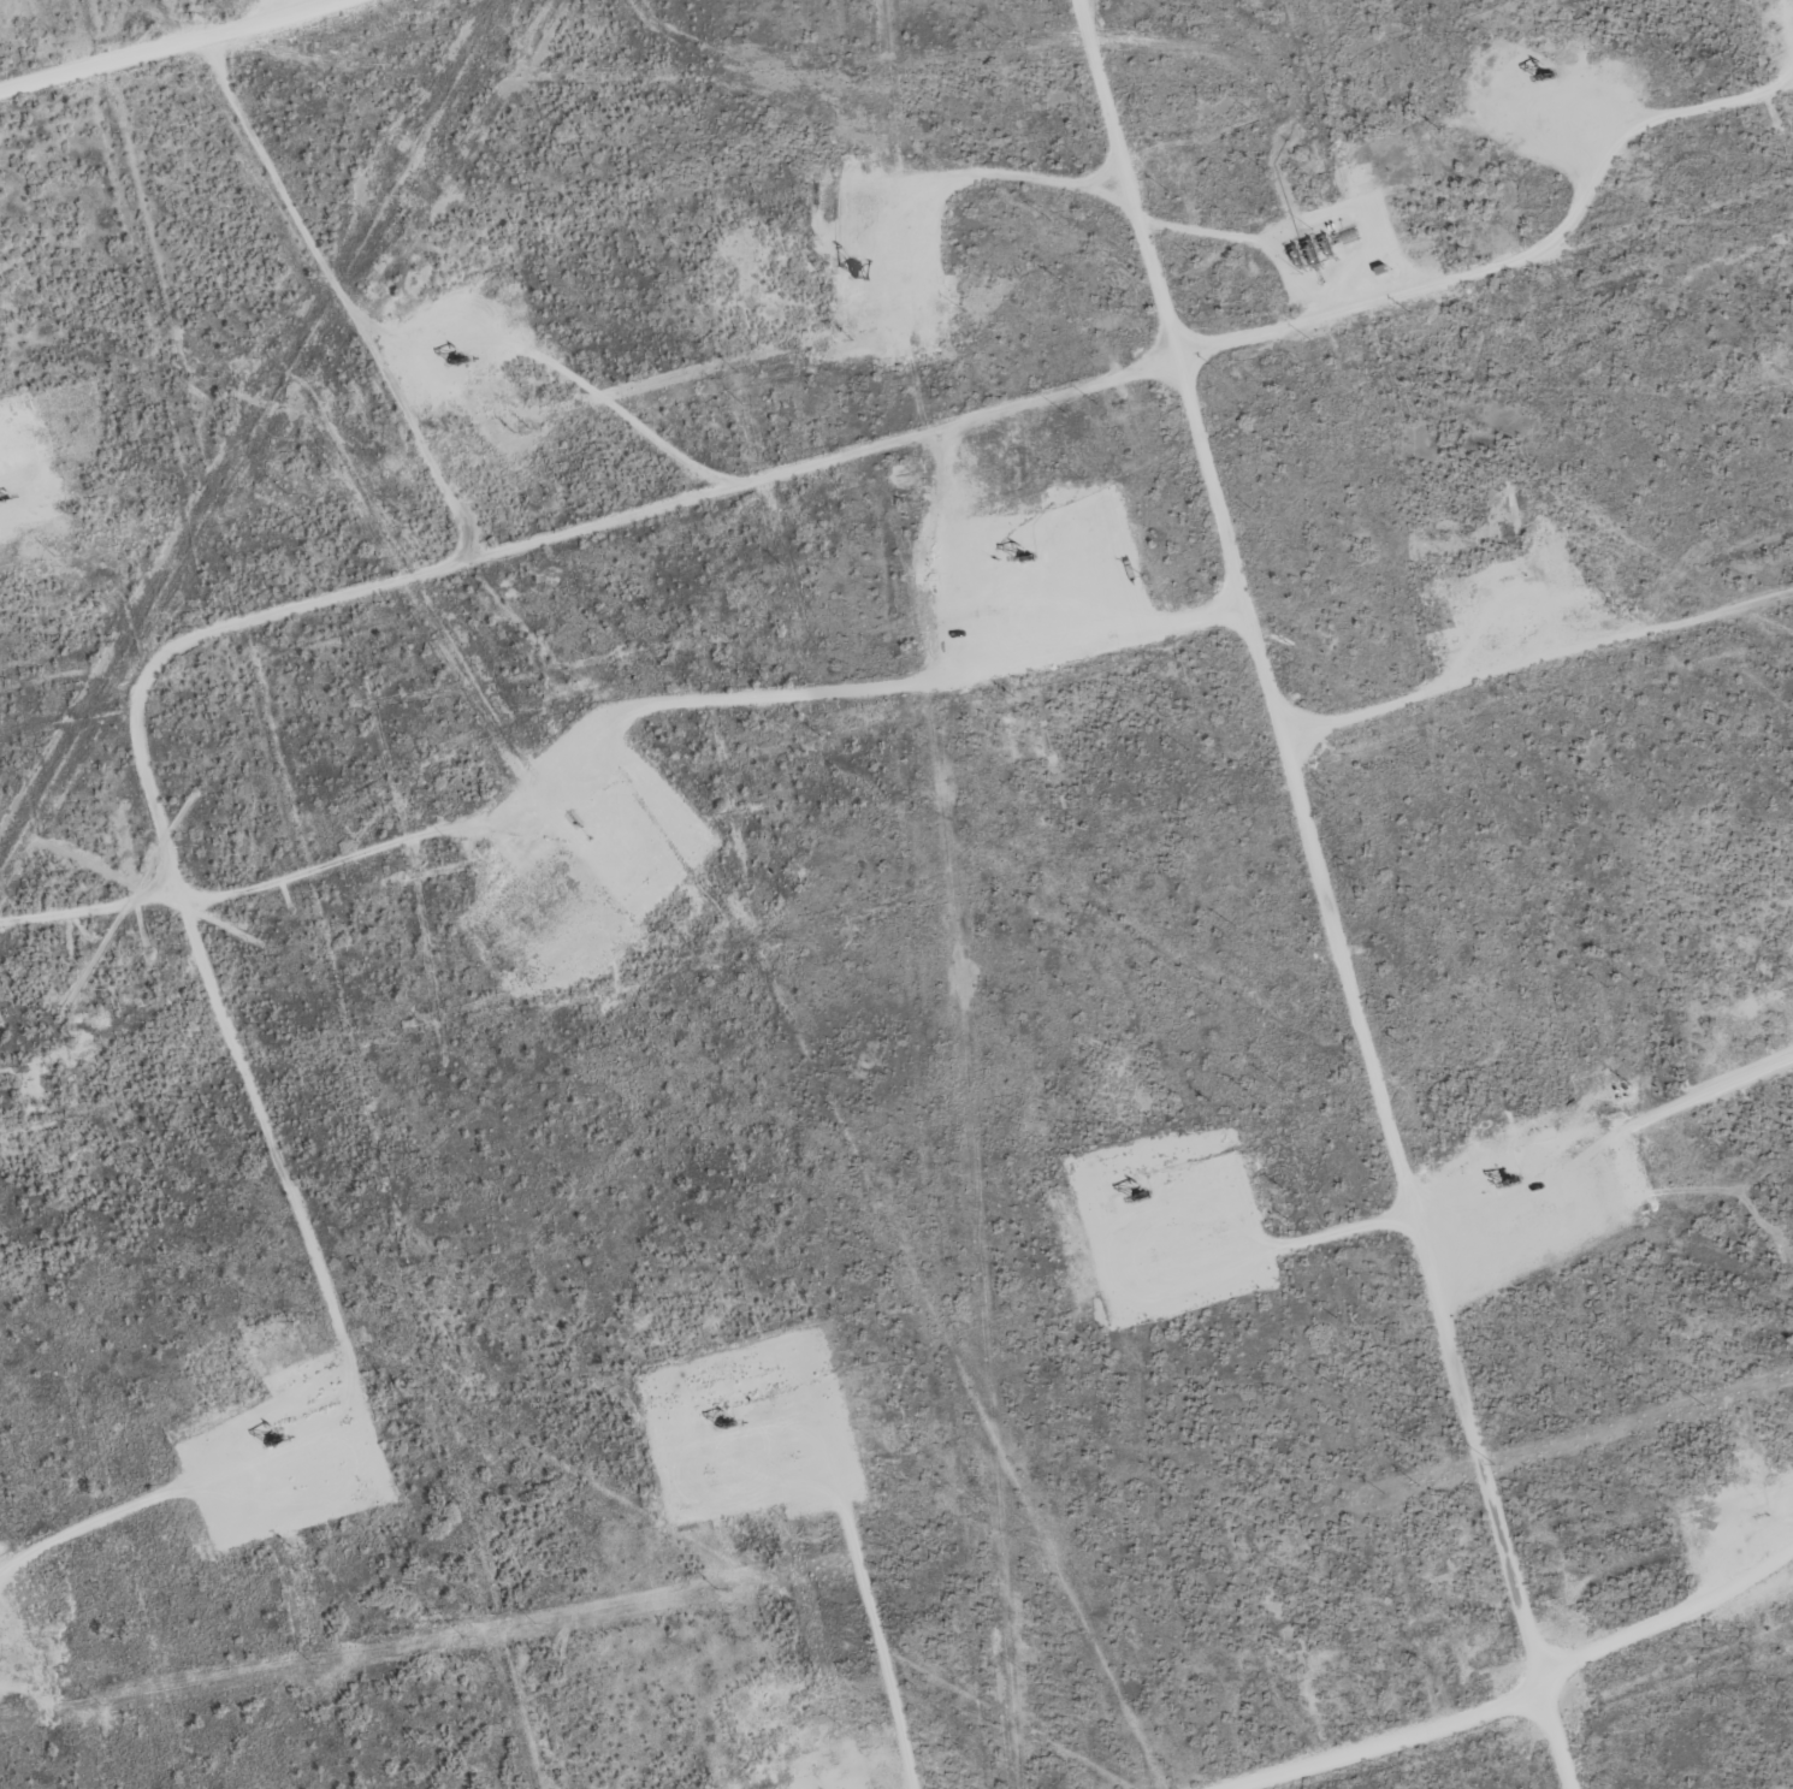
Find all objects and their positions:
road: (168, 46)
petroleum well: (1540, 72)
road: (289, 604)
road: (1538, 664)
road: (1327, 894)
road: (1669, 1618)
road: (1371, 1740)

